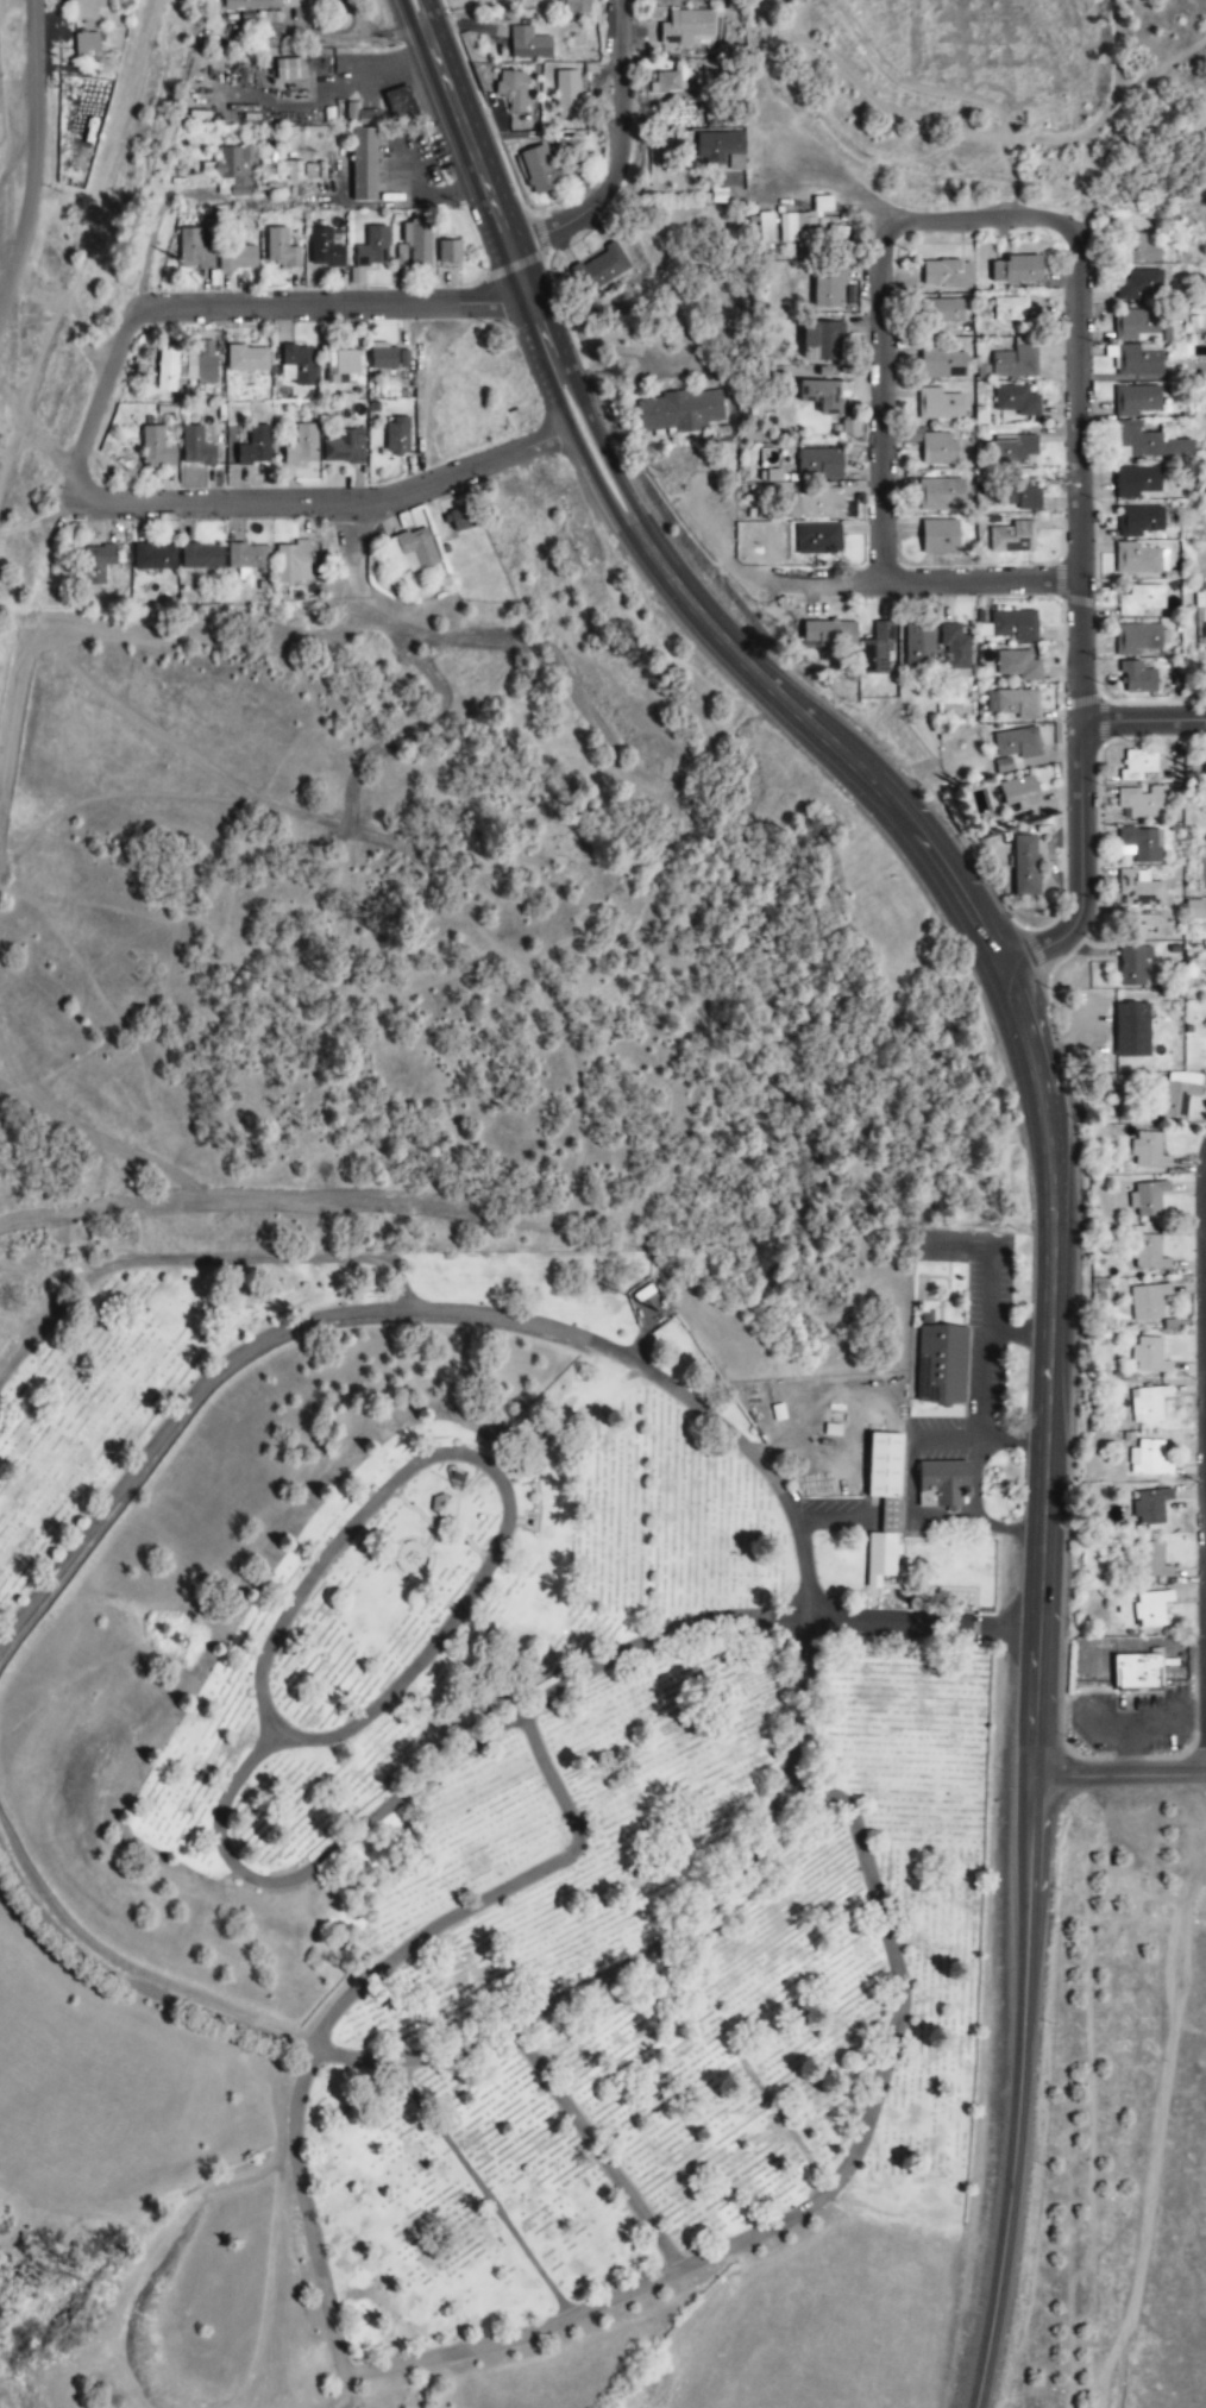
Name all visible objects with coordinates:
building: (251, 4)
building: (573, 6)
building: (87, 10)
road: (428, 15)
road: (410, 18)
building: (685, 27)
road: (348, 36)
building: (86, 44)
building: (528, 44)
building: (289, 69)
building: (668, 82)
building: (511, 89)
building: (567, 94)
building: (401, 103)
building: (718, 146)
road: (622, 156)
road: (33, 157)
building: (233, 164)
building: (363, 164)
building: (538, 169)
building: (300, 171)
road: (489, 200)
building: (822, 205)
road: (985, 221)
building: (765, 227)
building: (837, 232)
building: (799, 233)
building: (417, 238)
building: (373, 247)
building: (325, 249)
building: (281, 250)
building: (1141, 250)
building: (193, 251)
building: (448, 251)
building: (237, 258)
building: (604, 266)
building: (1017, 270)
building: (946, 275)
railway: (95, 284)
building: (1137, 284)
building: (828, 285)
road: (371, 304)
building: (1011, 308)
building: (940, 313)
building: (1135, 325)
building: (821, 341)
road: (119, 348)
building: (387, 357)
building: (340, 361)
building: (246, 363)
building: (1015, 363)
building: (942, 364)
building: (297, 365)
building: (184, 366)
building: (821, 396)
building: (1016, 401)
building: (1135, 401)
building: (938, 405)
road: (884, 408)
building: (680, 411)
building: (850, 429)
building: (396, 436)
building: (1149, 442)
road: (598, 445)
building: (255, 446)
building: (302, 446)
building: (195, 447)
building: (344, 447)
building: (934, 447)
building: (156, 448)
building: (1010, 449)
road: (583, 453)
building: (818, 465)
road: (1080, 479)
building: (1136, 482)
building: (941, 495)
building: (1022, 495)
road: (302, 502)
building: (815, 502)
building: (459, 520)
building: (1138, 521)
road: (353, 529)
building: (940, 537)
building: (1012, 537)
building: (817, 540)
building: (412, 551)
building: (201, 557)
building: (153, 558)
building: (246, 558)
building: (1139, 560)
building: (98, 562)
building: (293, 562)
road: (927, 583)
building: (1141, 601)
building: (1011, 627)
building: (829, 633)
building: (1139, 640)
building: (918, 645)
building: (875, 648)
building: (955, 648)
building: (1017, 666)
building: (1137, 678)
building: (1013, 704)
road: (1144, 718)
building: (1018, 743)
building: (1137, 765)
building: (1003, 766)
building: (1205, 773)
building: (1019, 793)
building: (1141, 801)
building: (1142, 844)
building: (1025, 866)
road: (1082, 867)
building: (1139, 888)
building: (1132, 966)
building: (1204, 1025)
building: (1132, 1031)
road: (1036, 1083)
building: (1176, 1094)
building: (1148, 1151)
building: (1147, 1199)
building: (1148, 1253)
road: (195, 1262)
building: (1148, 1302)
road: (1016, 1335)
building: (1149, 1357)
building: (941, 1363)
road: (982, 1384)
building: (1149, 1404)
road: (936, 1442)
building: (1148, 1459)
road: (489, 1466)
building: (943, 1484)
building: (442, 1507)
building: (884, 1507)
building: (1150, 1507)
road: (916, 1524)
building: (1151, 1561)
building: (1151, 1609)
road: (805, 1628)
building: (1138, 1673)
road: (534, 1704)
park: (492, 1779)
road: (1116, 1779)
road: (496, 1895)
road: (1018, 2094)
road: (780, 2117)
road: (595, 2149)
road: (485, 2192)
road: (811, 2205)
road: (306, 2215)

